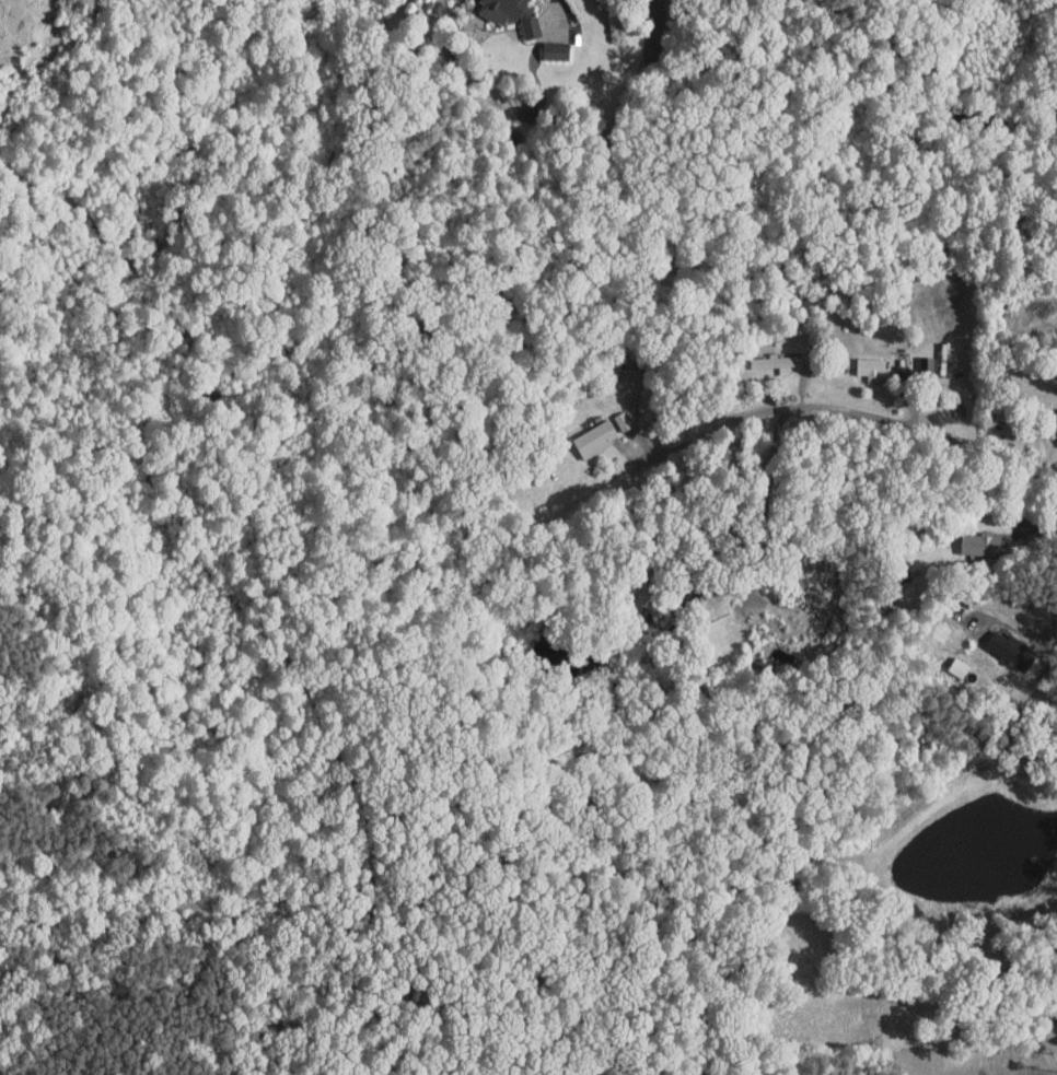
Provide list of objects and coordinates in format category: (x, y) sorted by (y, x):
building: (501, 10)
building: (544, 44)
road: (948, 85)
building: (764, 355)
building: (859, 361)
road: (832, 412)
building: (1052, 412)
building: (611, 413)
building: (583, 431)
road: (710, 504)
road: (763, 530)
building: (968, 537)
road: (1048, 627)
building: (999, 643)

